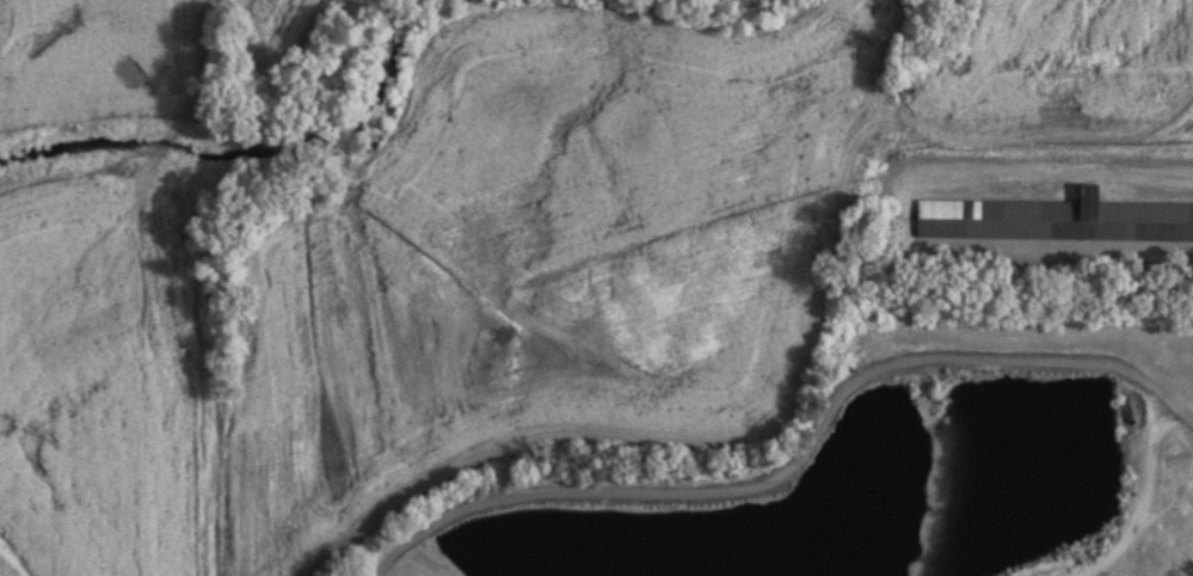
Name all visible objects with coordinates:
river: (250, 152)
road: (1140, 180)
building: (1053, 221)
building: (1125, 404)
road: (797, 458)

